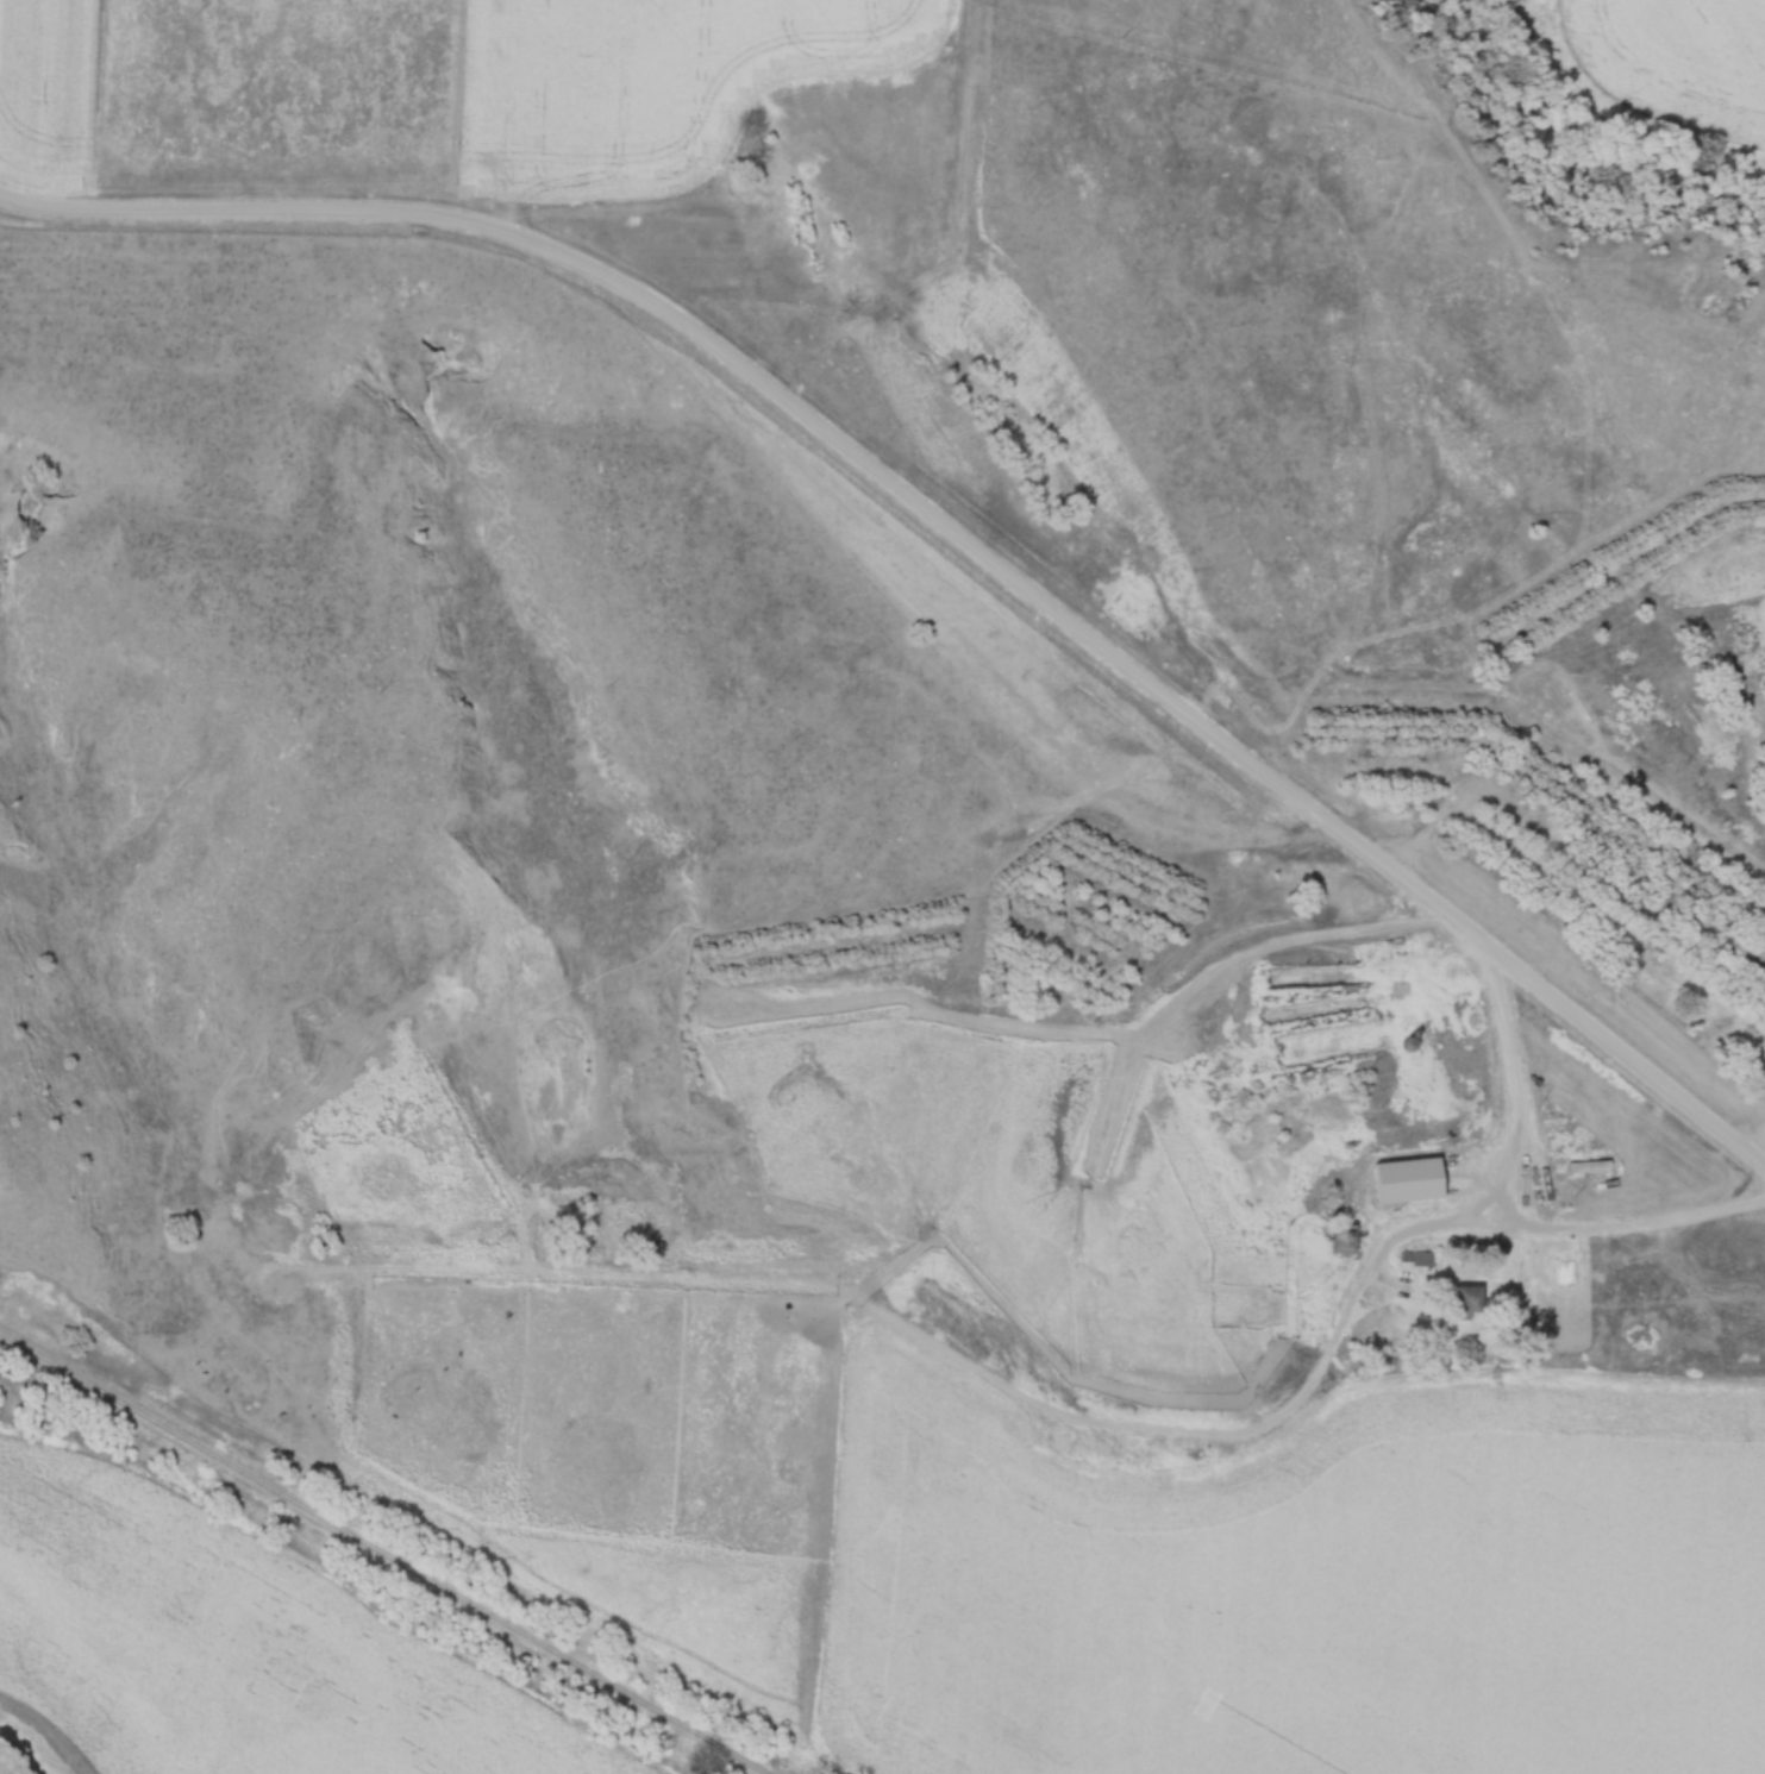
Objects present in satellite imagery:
road: (946, 520)
building: (1421, 1185)
road: (1473, 1221)
building: (1344, 1240)
building: (1467, 1303)
railway: (390, 1548)
crop: (1308, 1590)

